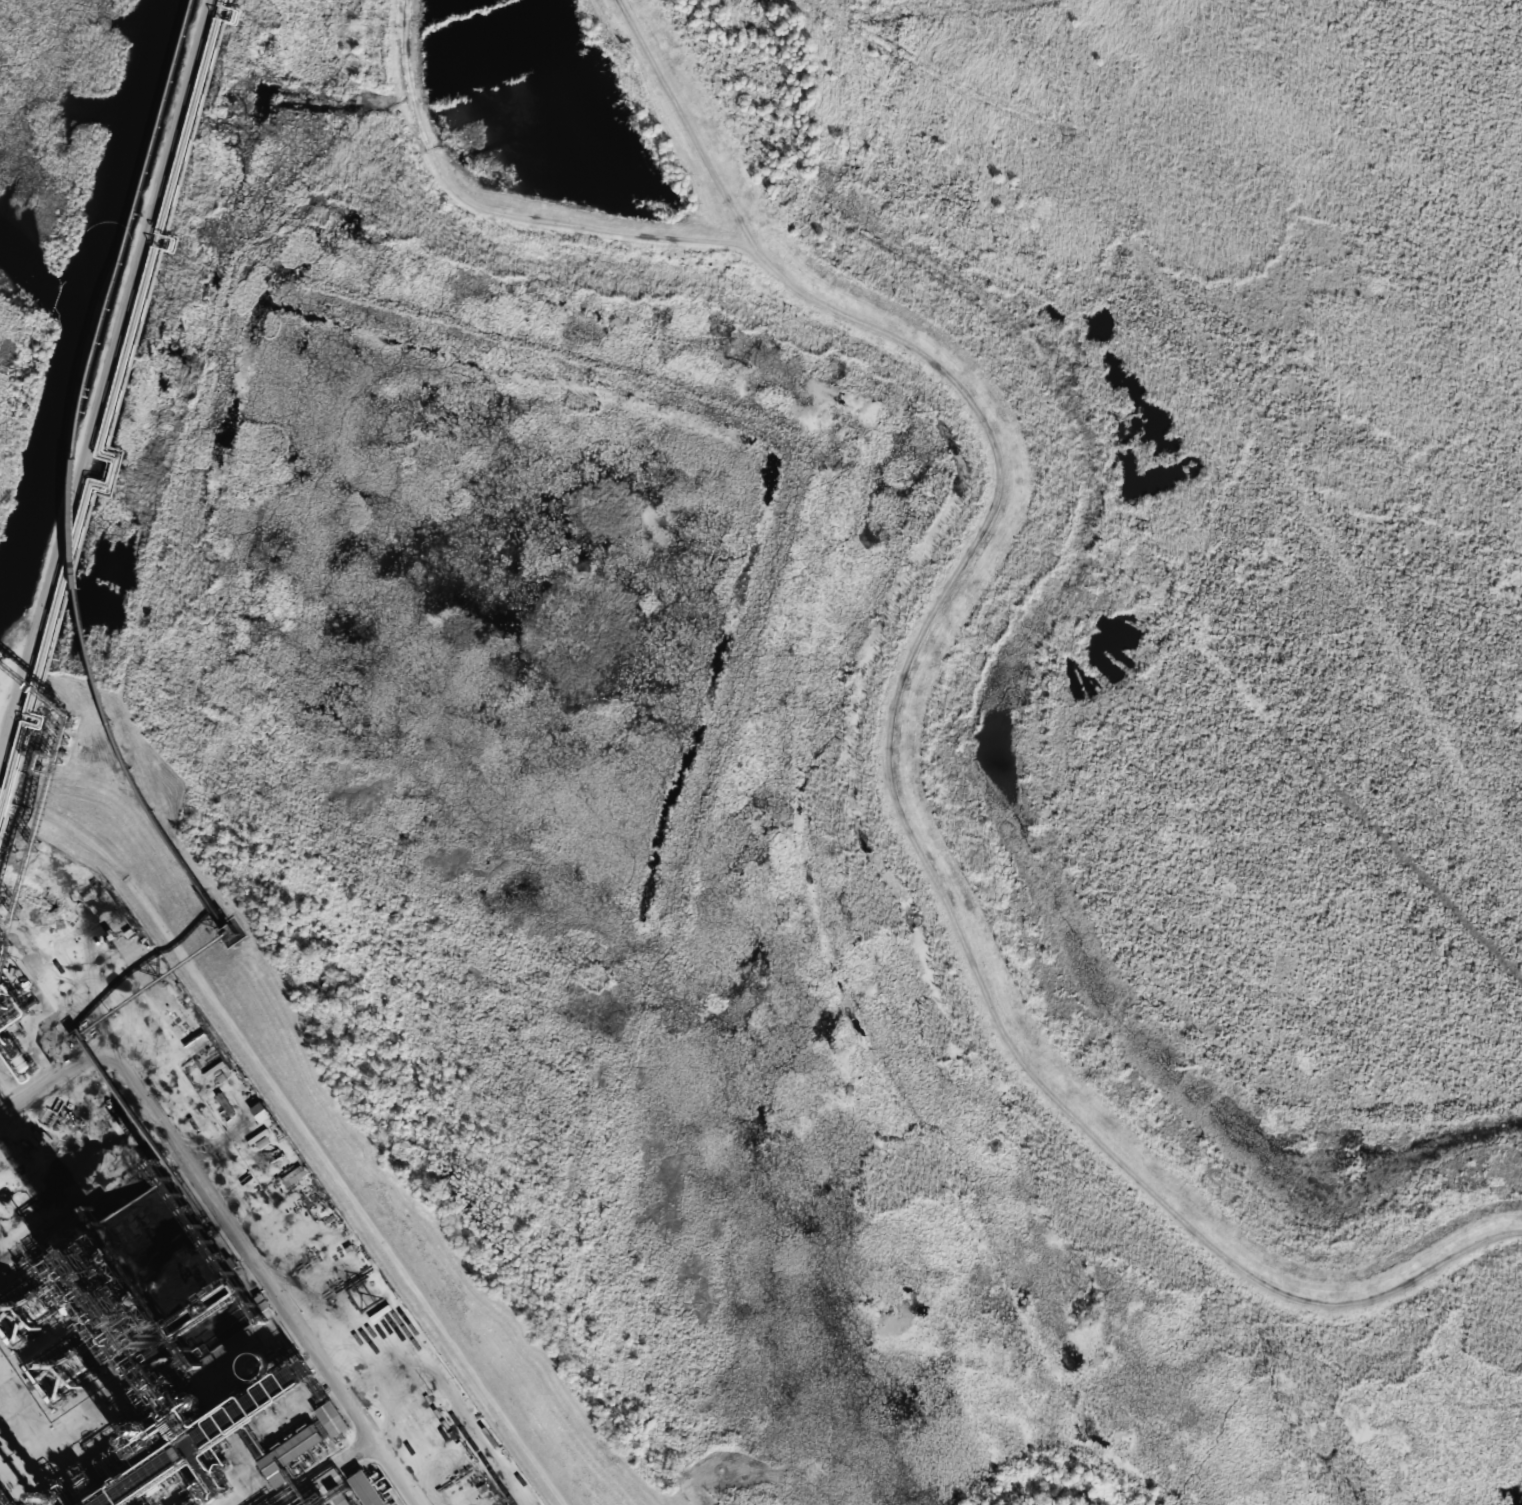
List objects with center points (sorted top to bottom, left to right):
road: (109, 395)
building: (122, 935)
building: (260, 1111)
road: (302, 1127)
road: (228, 1218)
building: (237, 1366)
building: (328, 1419)
building: (285, 1451)
road: (319, 1466)
building: (362, 1489)
building: (335, 1498)

